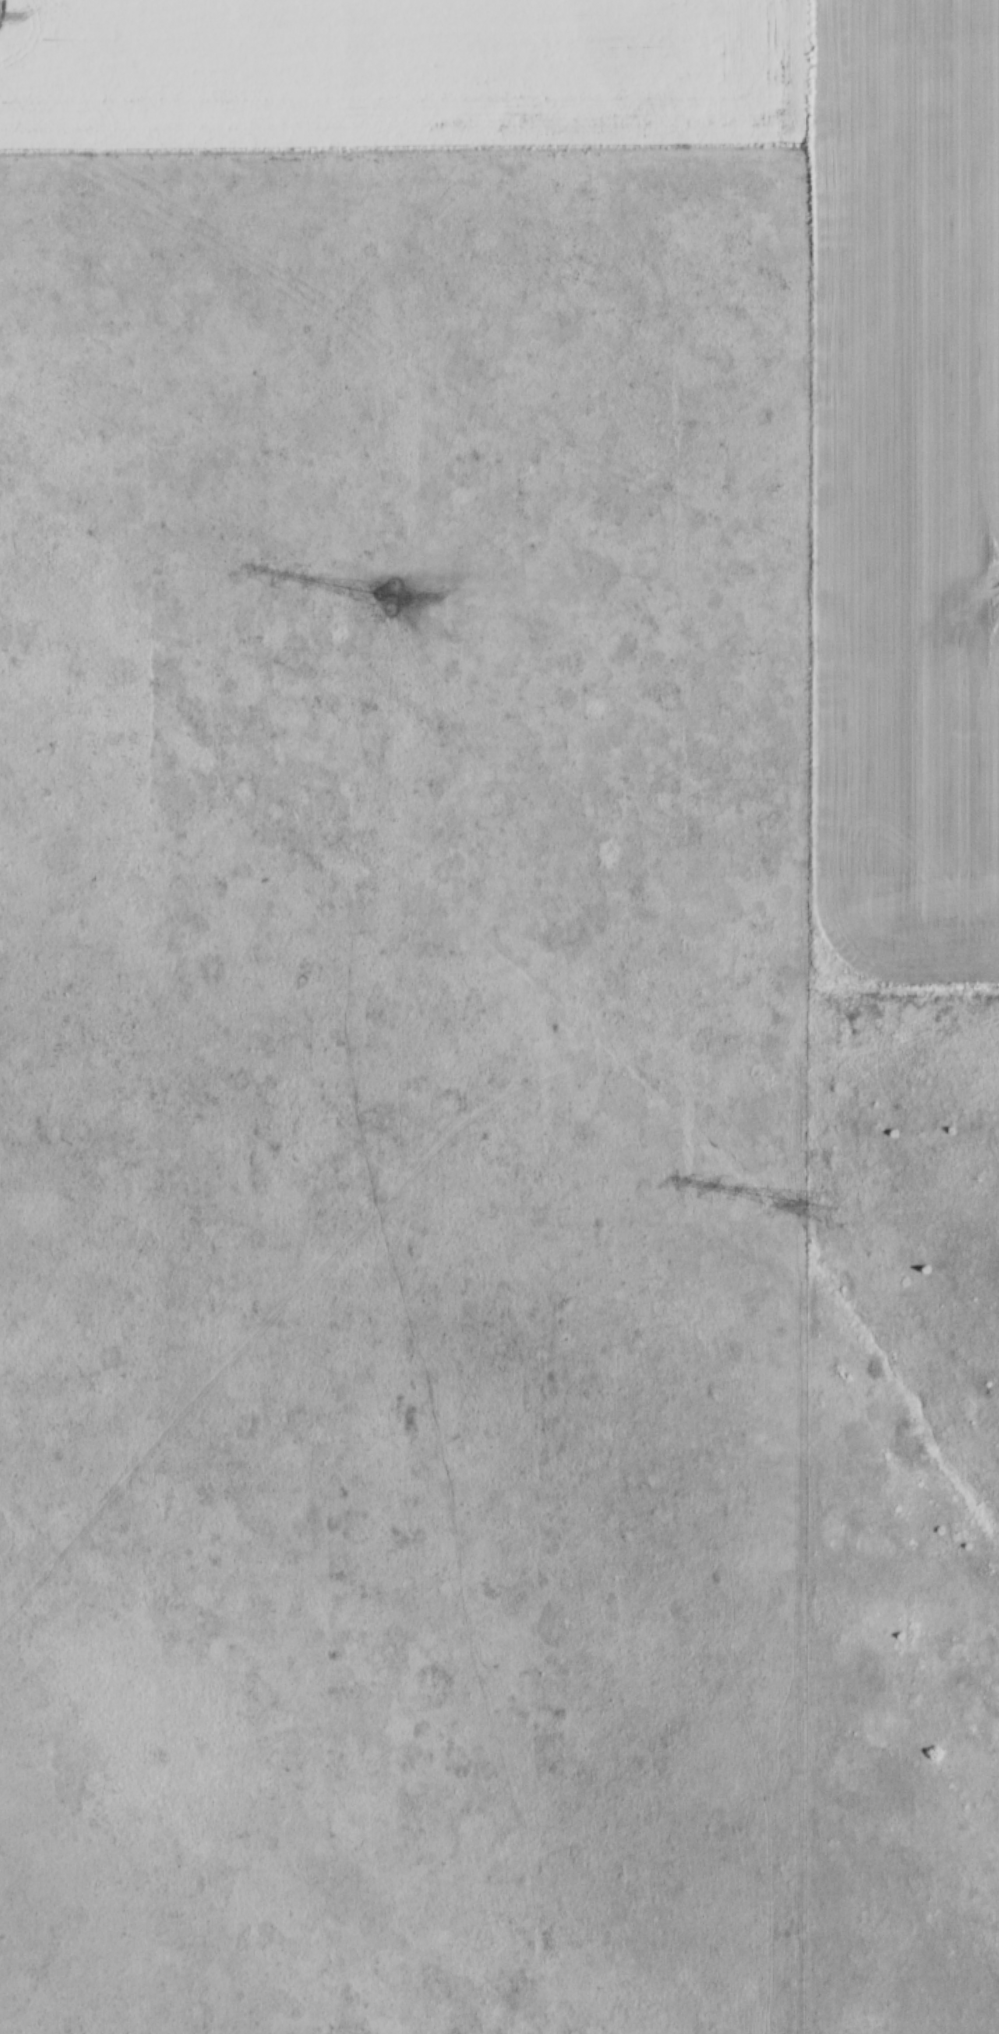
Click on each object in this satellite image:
crop: (905, 489)
power tower: (390, 597)
power tower: (820, 1206)

